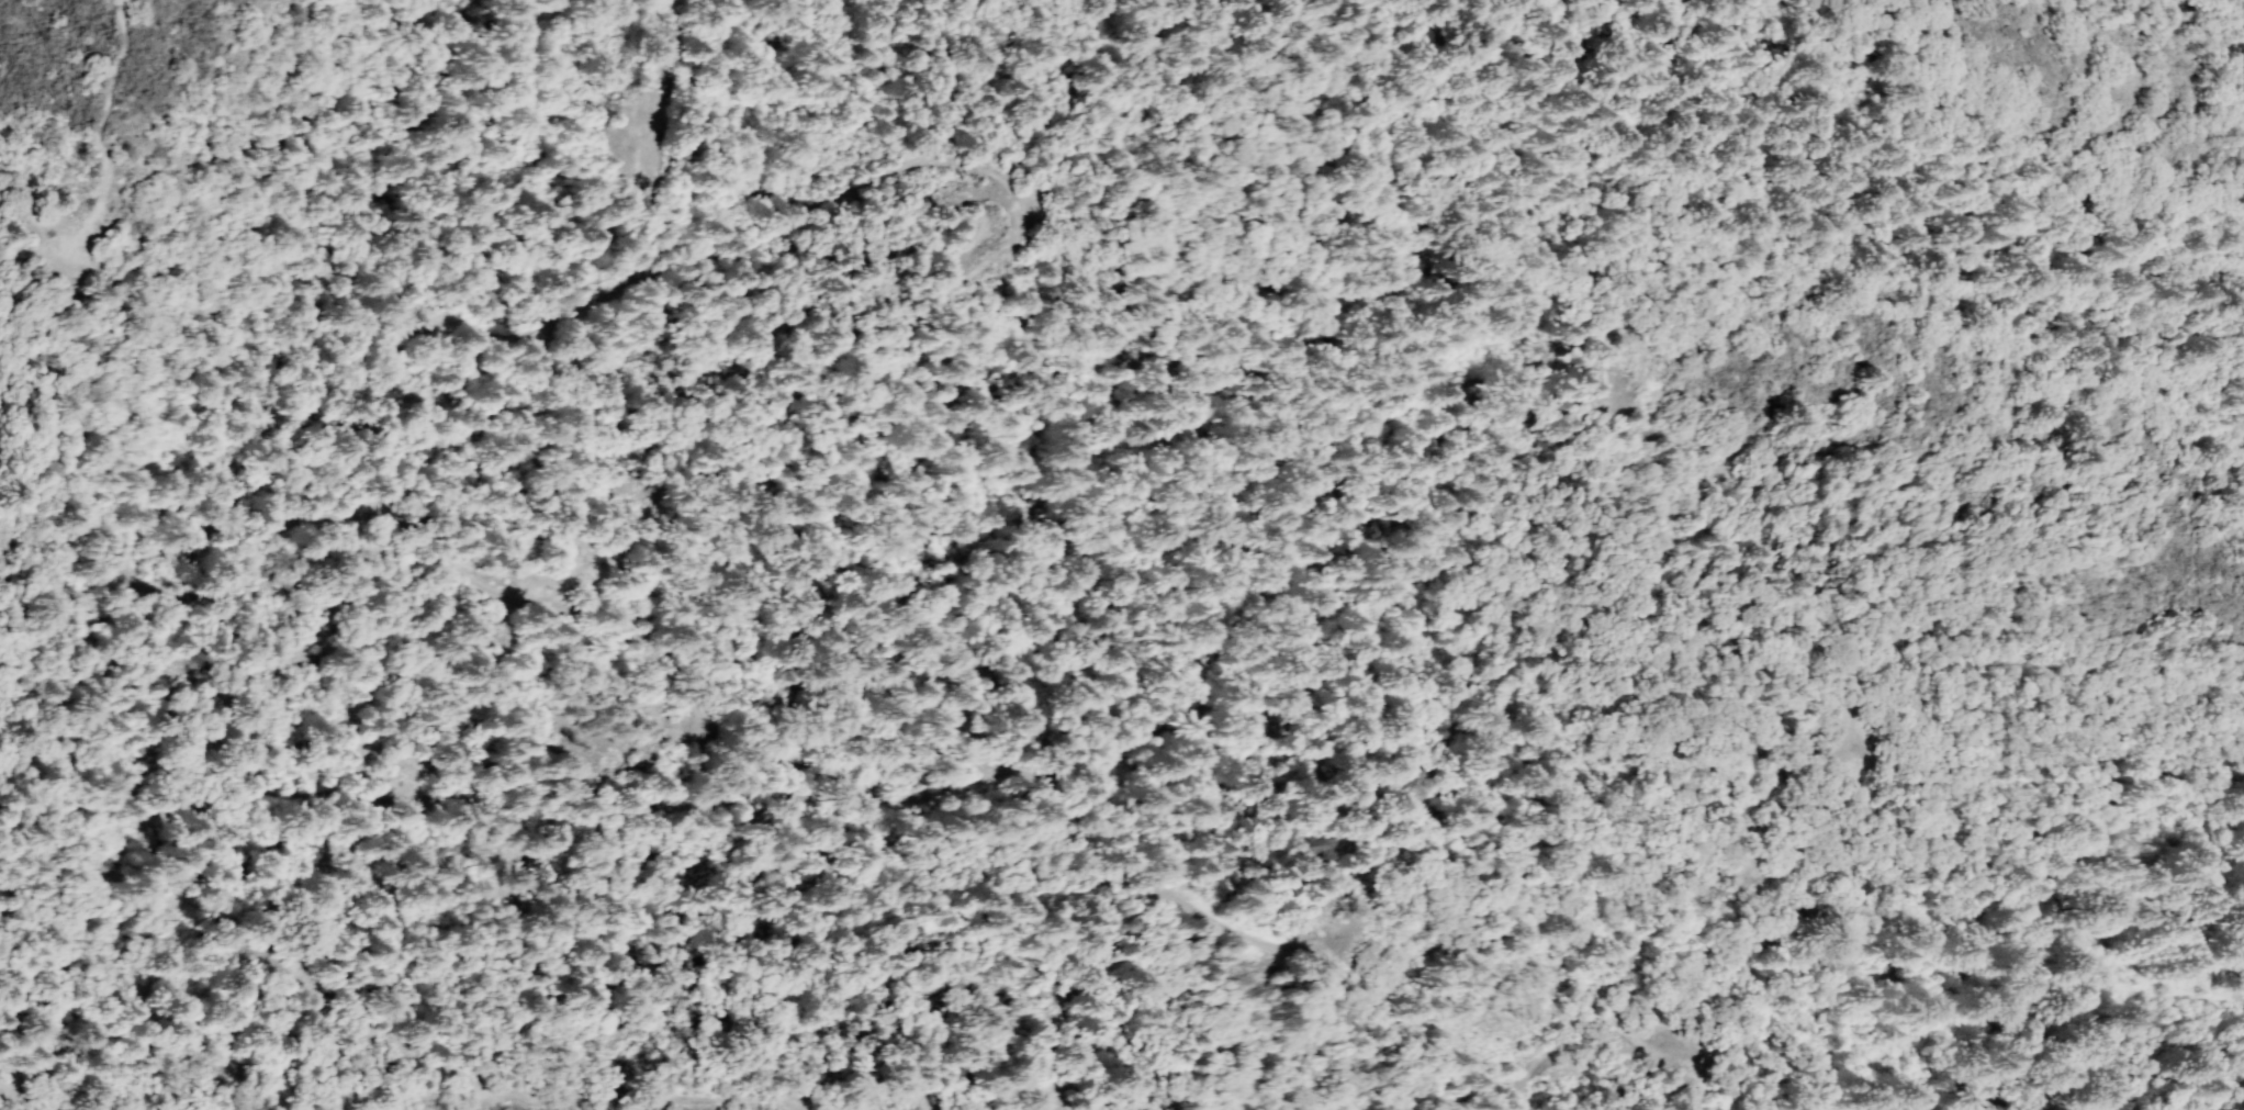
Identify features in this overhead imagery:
road: (111, 75)
road: (93, 199)
building: (1451, 363)
road: (671, 661)
road: (1724, 877)

